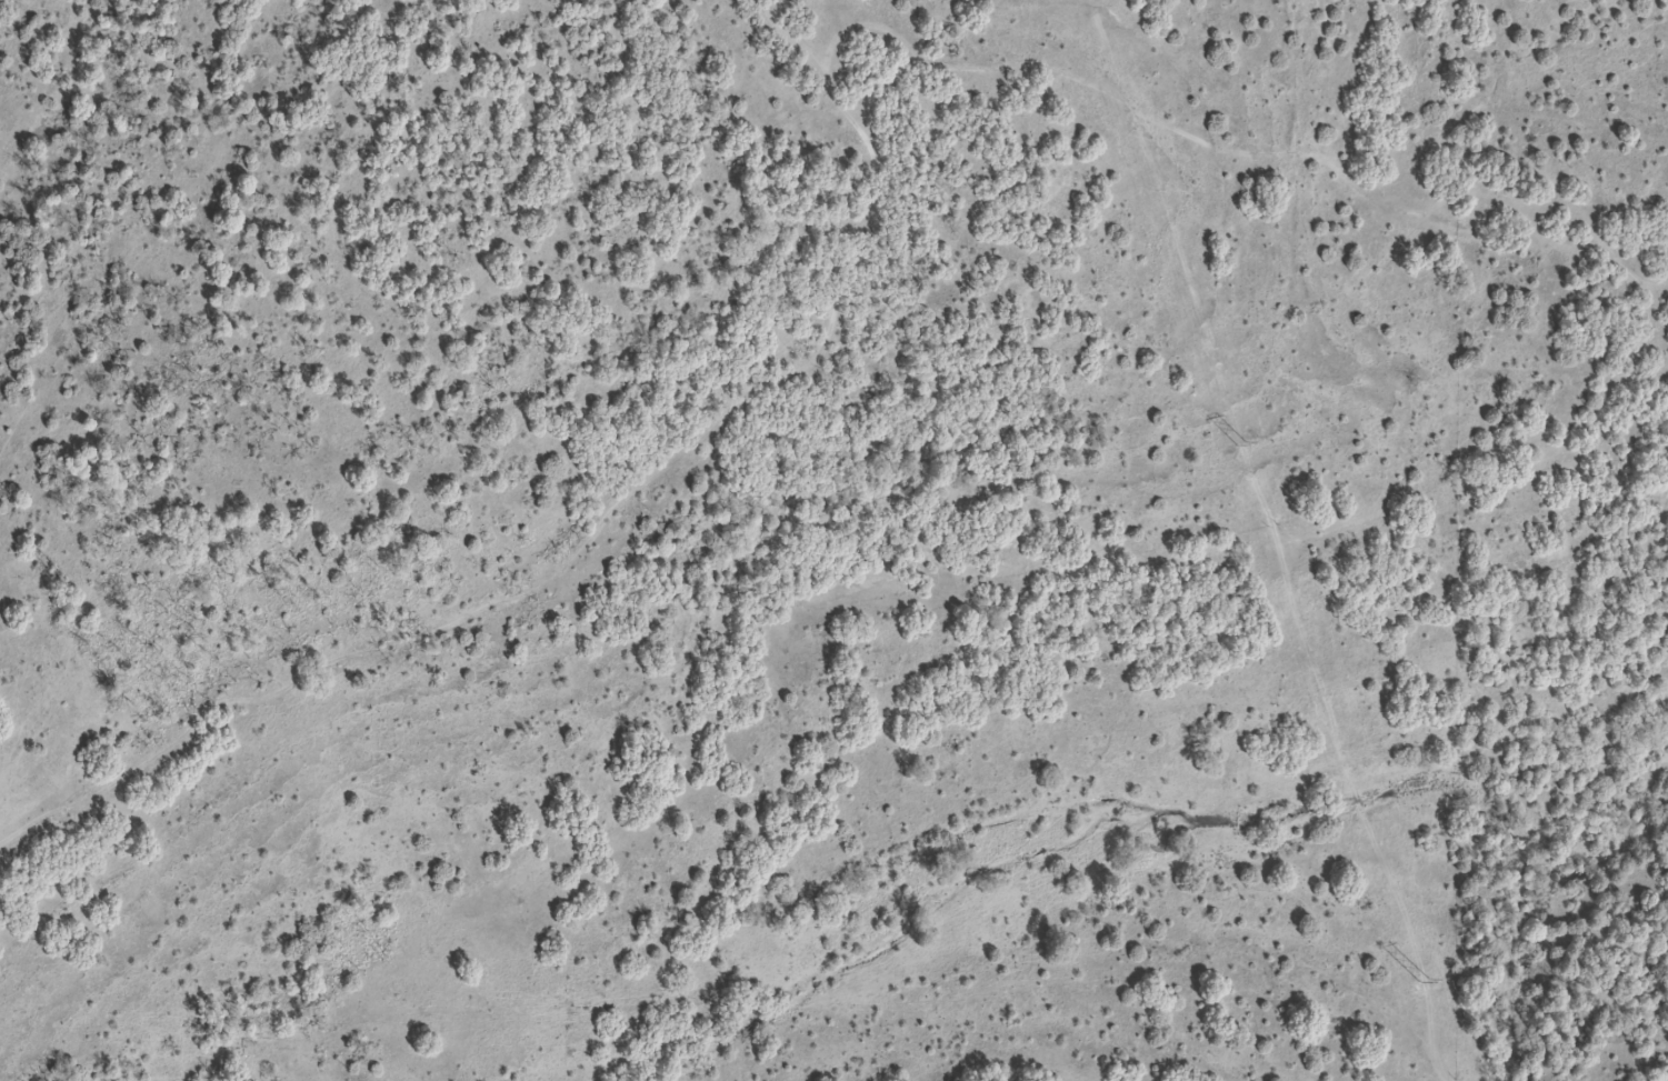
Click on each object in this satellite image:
power tower: (1237, 447)
power tower: (1416, 973)

